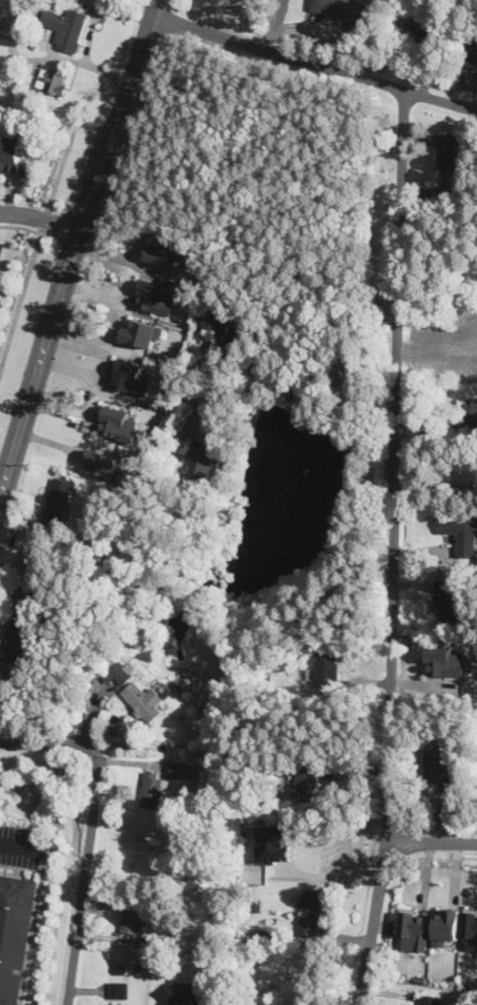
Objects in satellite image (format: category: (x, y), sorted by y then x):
road: (89, 6)
building: (342, 10)
building: (0, 14)
building: (66, 27)
building: (418, 29)
road: (90, 34)
road: (13, 53)
building: (471, 57)
road: (313, 62)
building: (55, 82)
building: (10, 153)
building: (450, 156)
road: (61, 172)
road: (40, 219)
road: (46, 223)
road: (75, 246)
building: (163, 254)
road: (27, 284)
building: (155, 298)
building: (225, 326)
building: (140, 333)
building: (129, 379)
road: (301, 409)
building: (471, 415)
building: (117, 425)
building: (199, 457)
building: (100, 465)
building: (466, 477)
building: (58, 503)
building: (461, 533)
road: (394, 549)
building: (33, 572)
building: (448, 603)
building: (18, 639)
building: (444, 663)
building: (327, 669)
building: (119, 674)
building: (145, 704)
building: (274, 764)
building: (444, 766)
road: (338, 768)
building: (181, 771)
building: (476, 778)
building: (305, 785)
building: (153, 790)
road: (87, 831)
road: (20, 842)
road: (430, 842)
road: (332, 870)
building: (255, 905)
building: (310, 913)
building: (133, 916)
building: (274, 921)
building: (447, 926)
building: (471, 929)
building: (414, 930)
building: (15, 934)
building: (265, 936)
building: (153, 939)
building: (258, 957)
building: (139, 968)
building: (122, 970)
building: (120, 991)
building: (185, 994)
building: (428, 1000)
building: (117, 1004)

